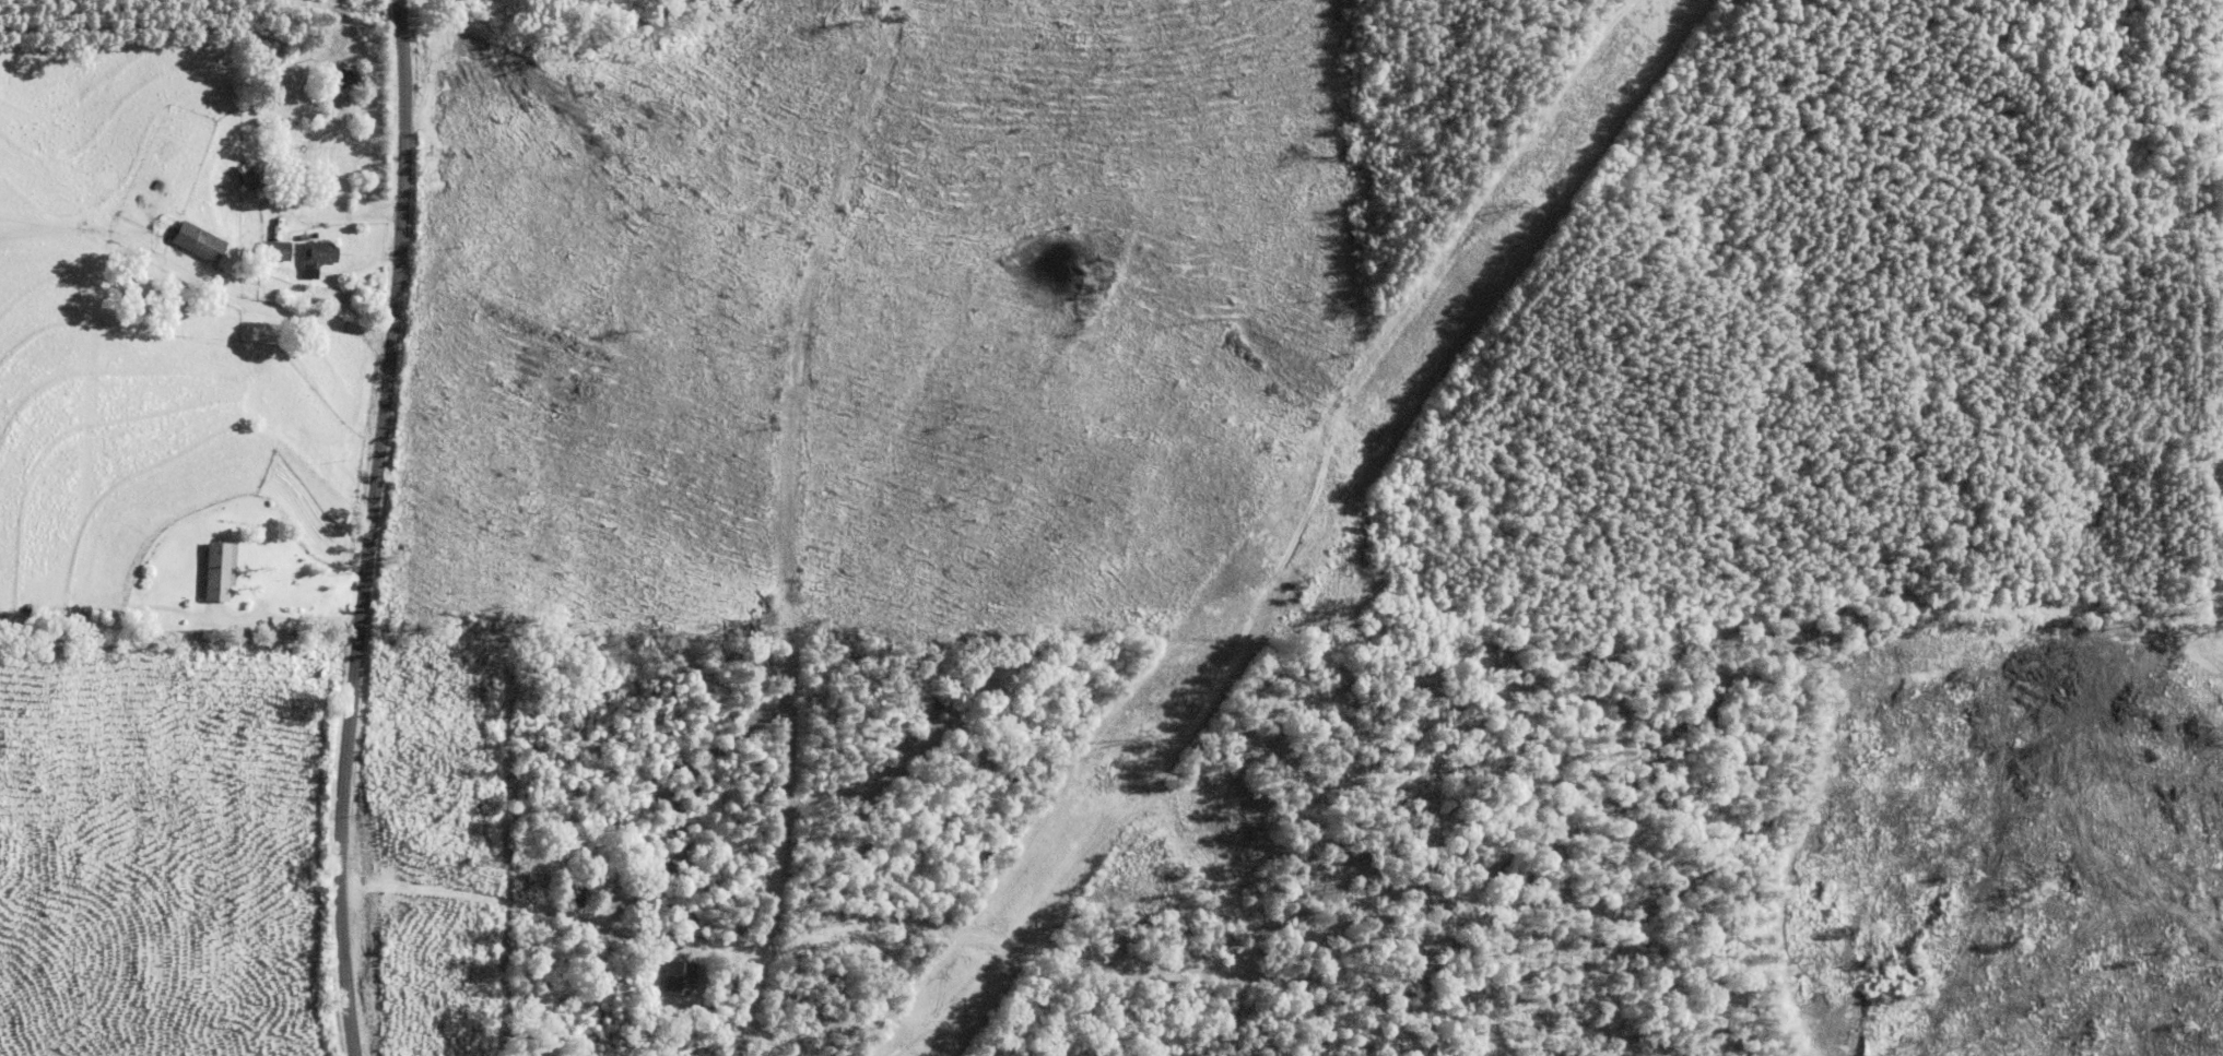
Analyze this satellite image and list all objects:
building: (232, 177)
power tower: (1515, 205)
building: (177, 241)
building: (257, 251)
building: (302, 253)
road: (322, 526)
building: (198, 571)
power tower: (1130, 739)
building: (568, 891)
building: (669, 978)

